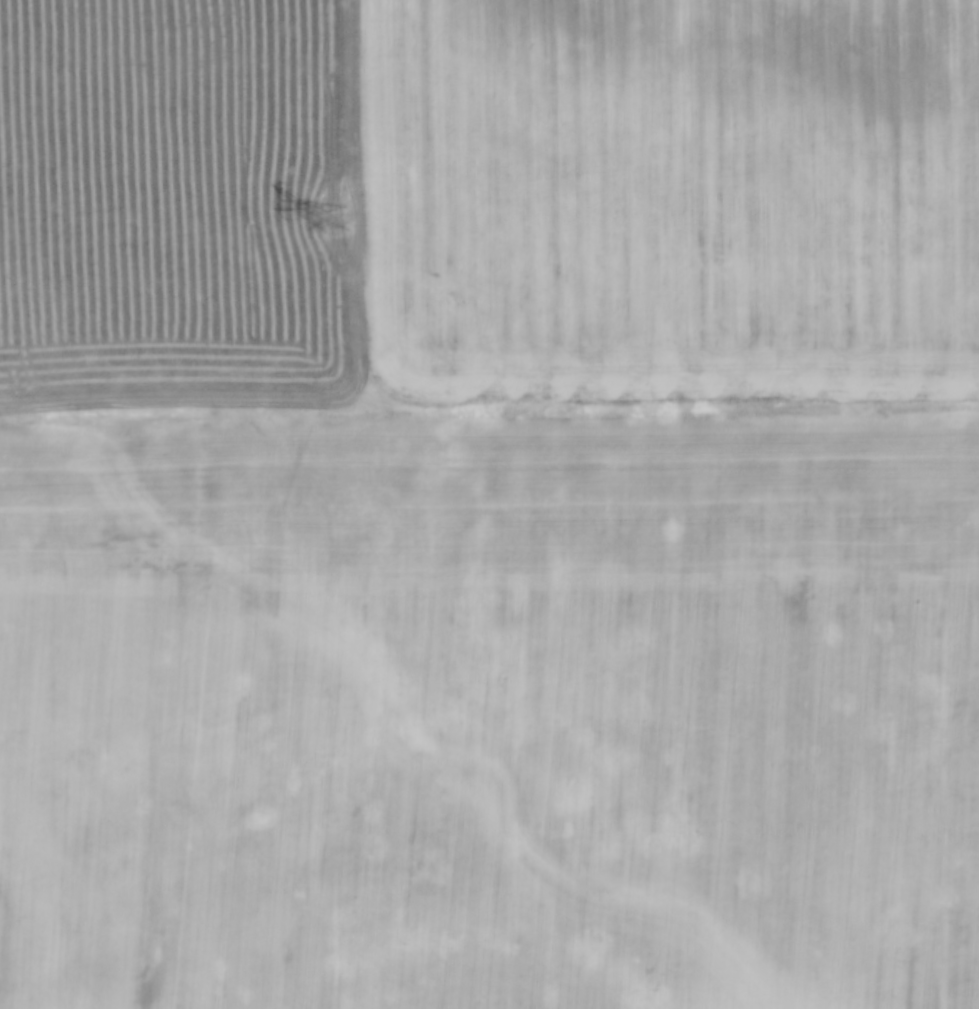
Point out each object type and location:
power tower: (336, 224)

